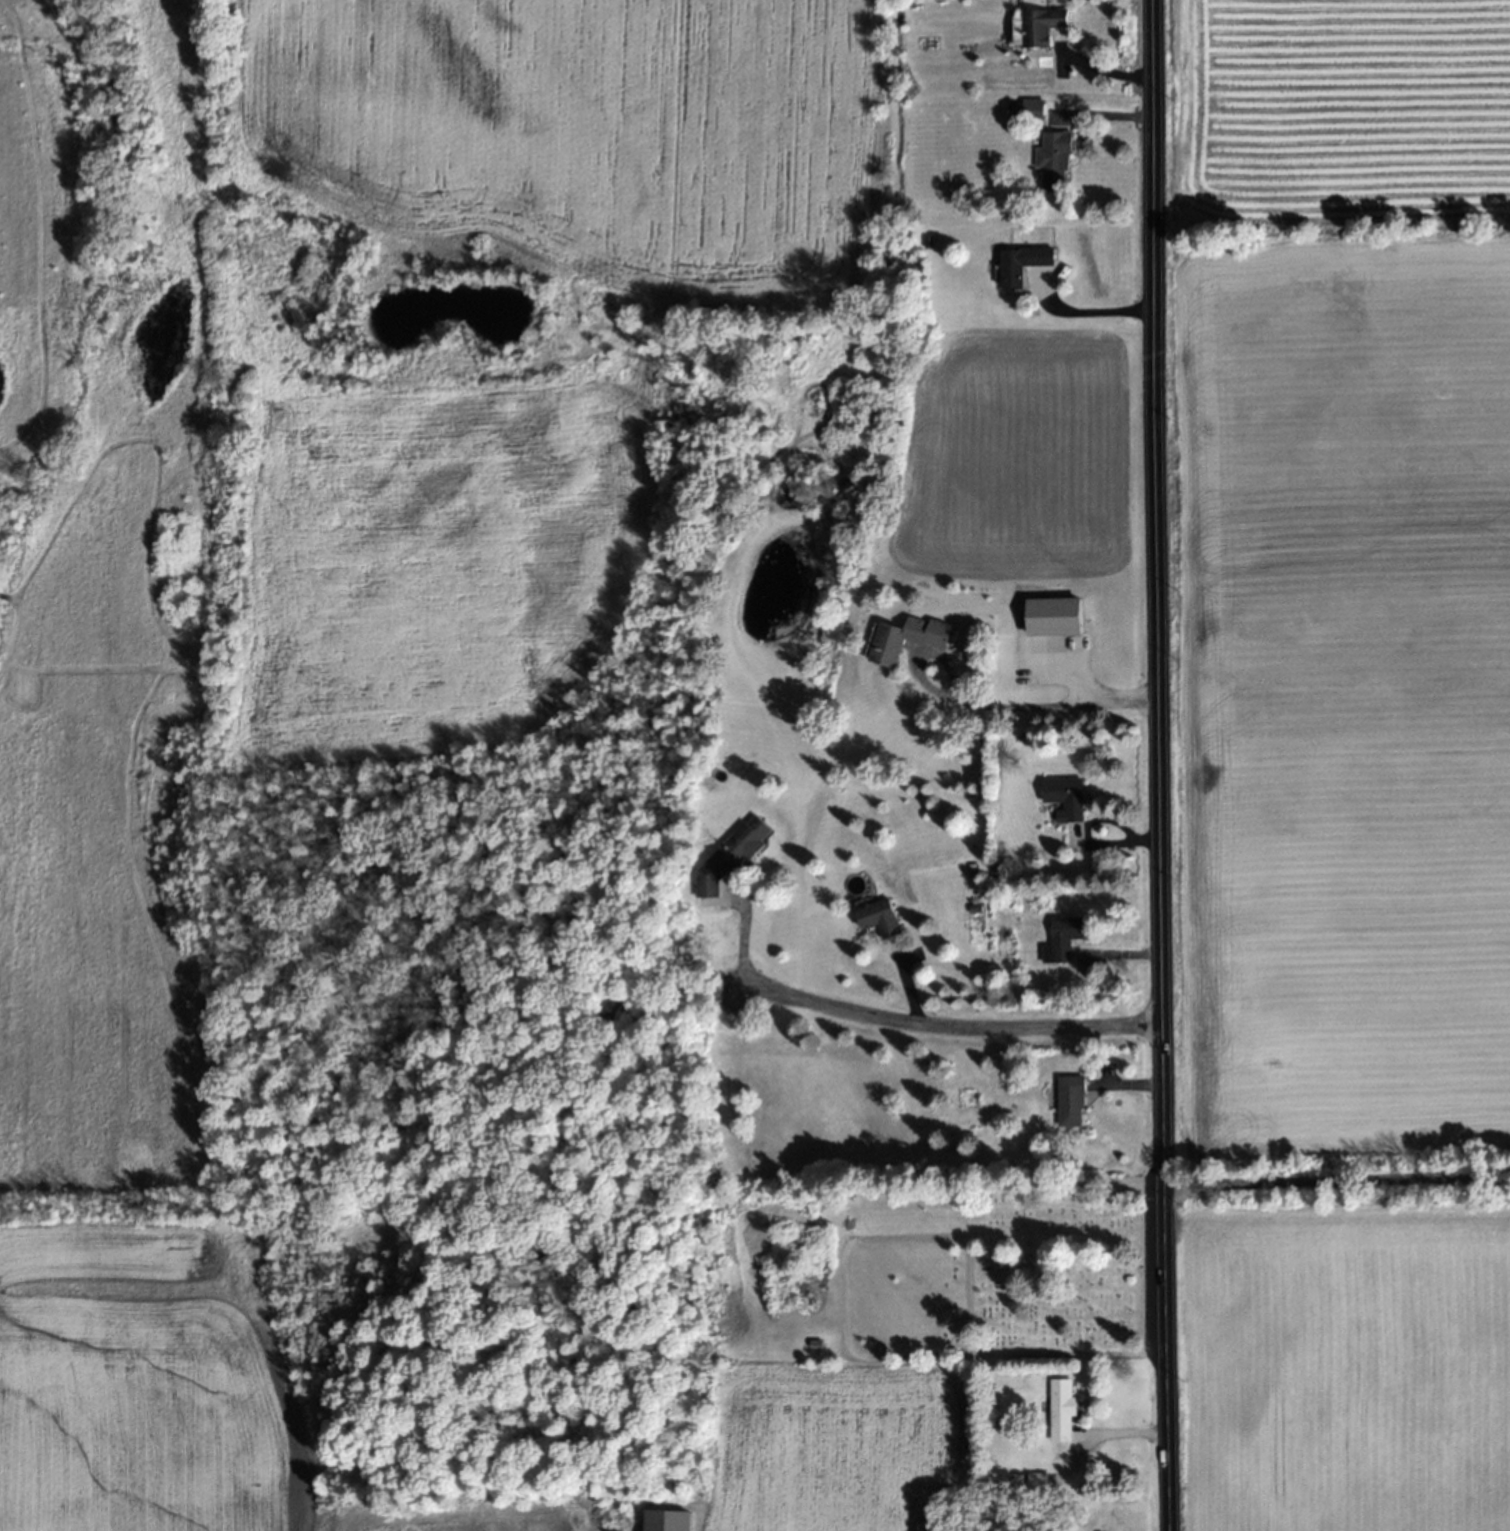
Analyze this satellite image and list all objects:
building: (1036, 27)
road: (1056, 52)
road: (1100, 71)
building: (1032, 109)
road: (1098, 116)
road: (1080, 130)
building: (1052, 159)
building: (1022, 263)
road: (1078, 312)
building: (909, 637)
road: (981, 702)
road: (1155, 765)
building: (1064, 797)
road: (1077, 827)
building: (730, 855)
building: (880, 918)
road: (741, 934)
building: (1061, 939)
road: (1116, 955)
road: (1081, 964)
road: (946, 1026)
road: (1103, 1074)
road: (1123, 1084)
building: (1070, 1100)
road: (1334, 1178)
road: (1006, 1353)
building: (1060, 1409)
road: (1118, 1431)

